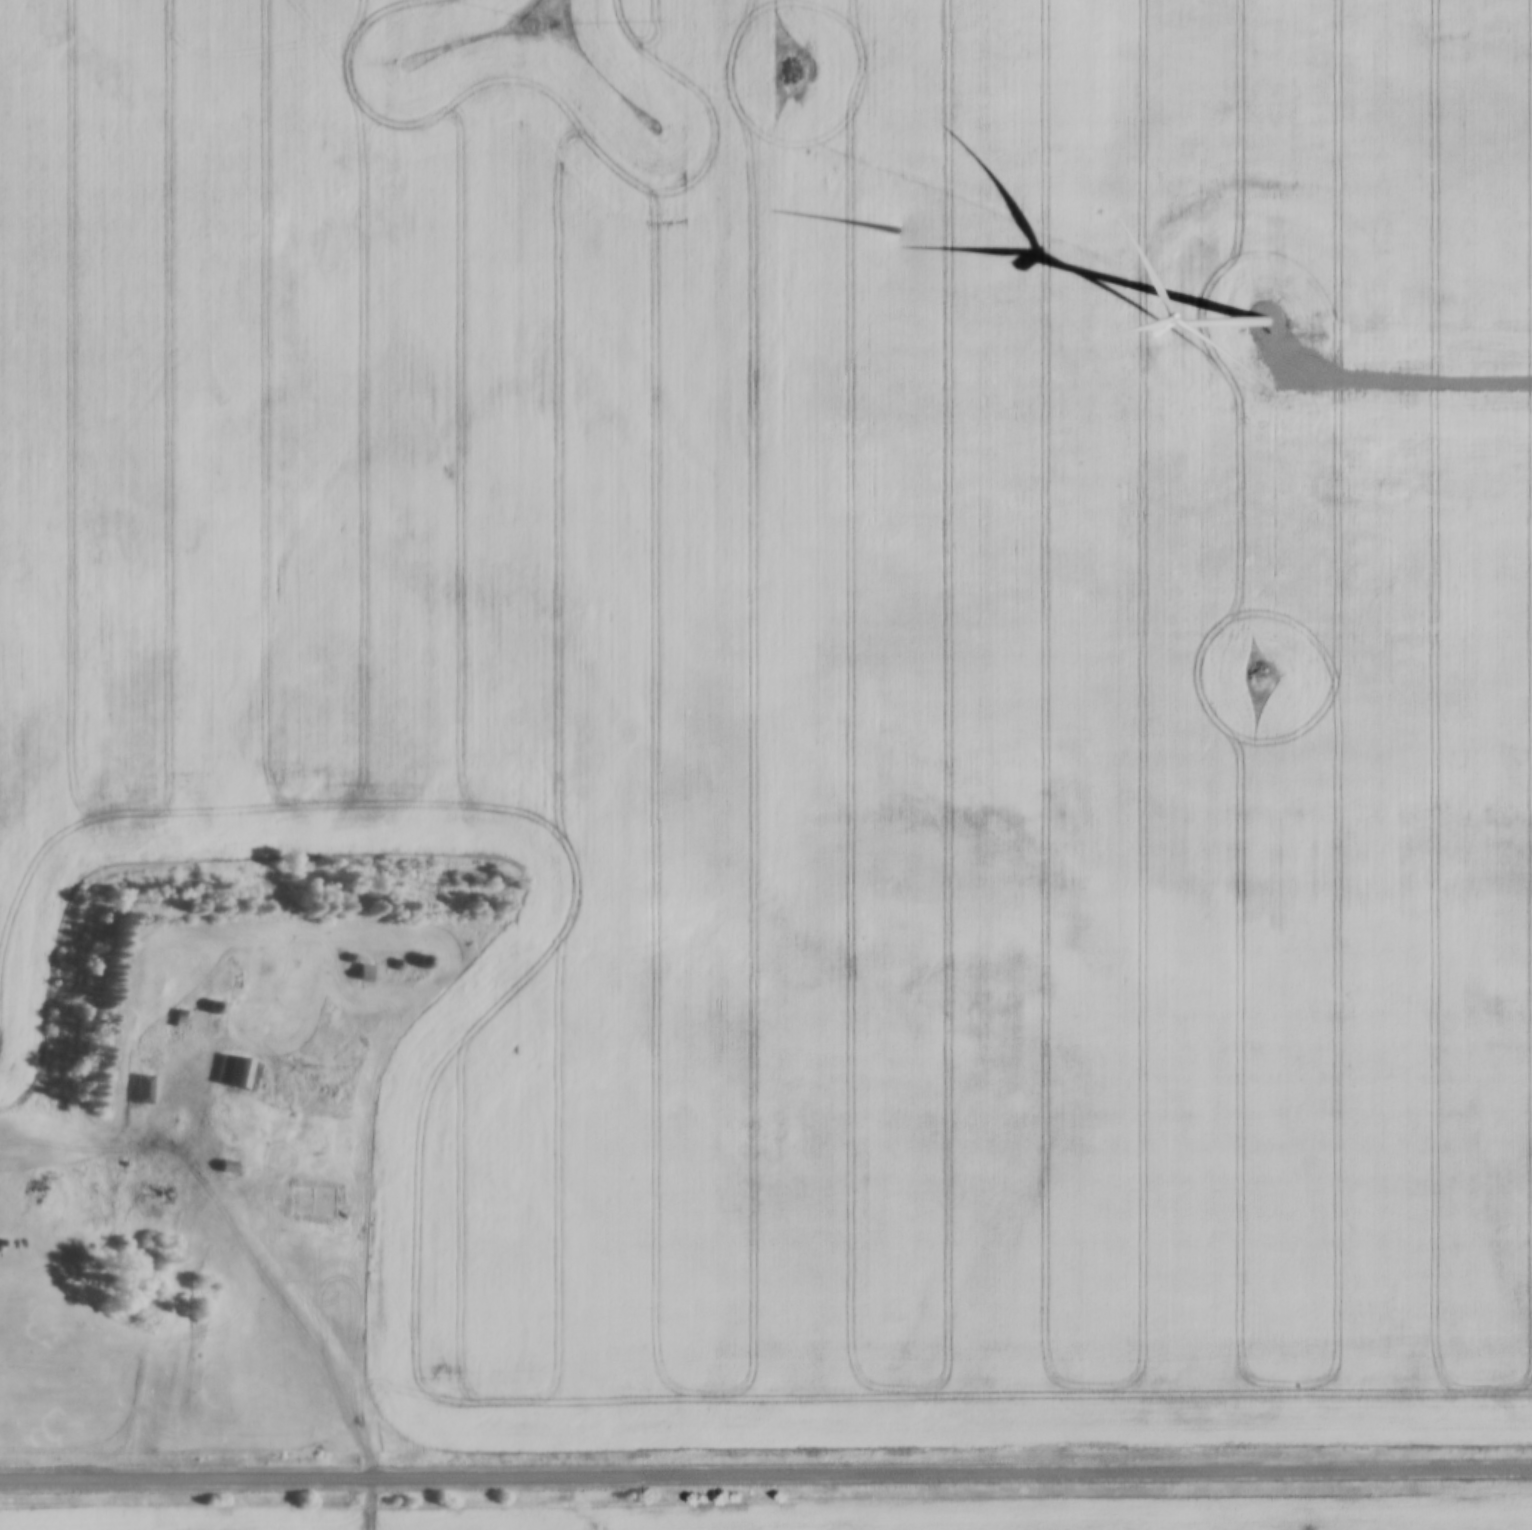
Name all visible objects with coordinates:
wind turbine: (1271, 326)
building: (426, 963)
building: (367, 975)
building: (215, 1008)
building: (185, 1015)
building: (239, 1073)
building: (307, 1082)
building: (144, 1090)
building: (155, 1193)
building: (312, 1202)
road: (228, 1260)
road: (766, 1474)

